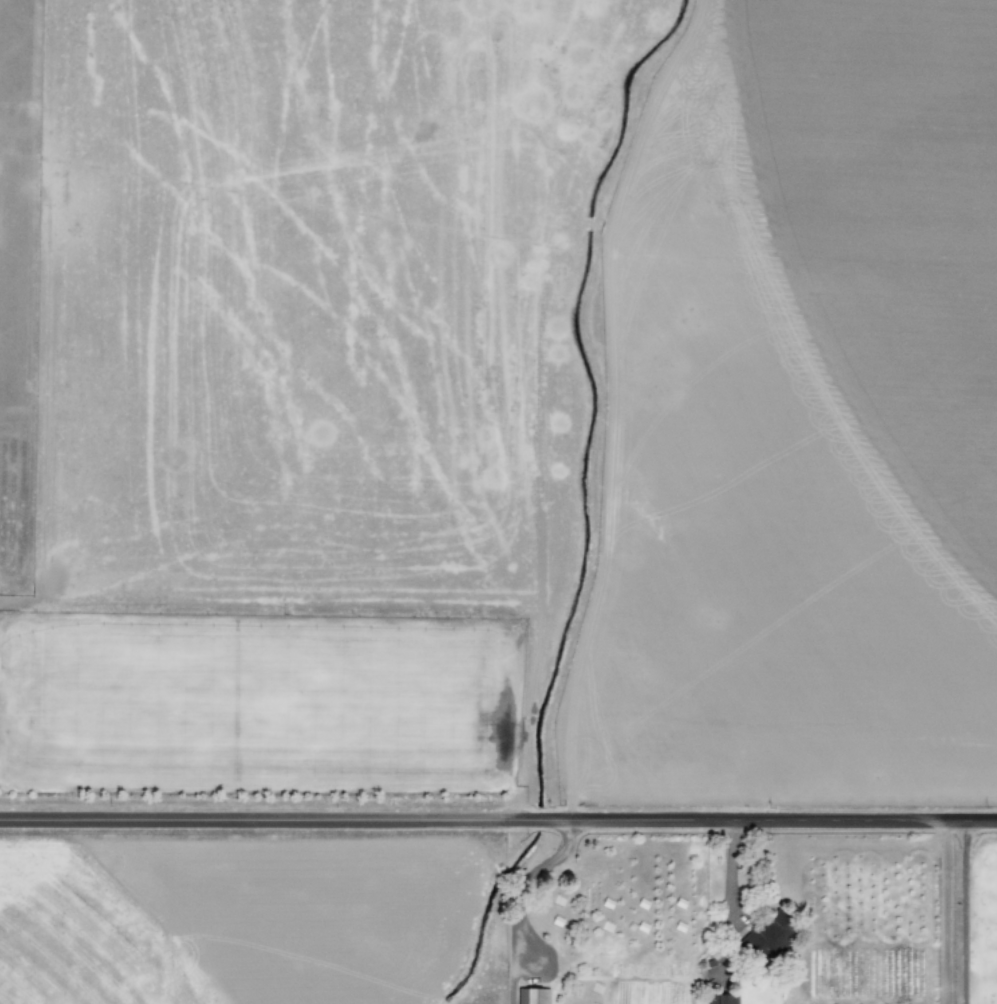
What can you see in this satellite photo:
road: (498, 822)
road: (961, 914)
building: (766, 937)
building: (532, 995)
building: (721, 999)

